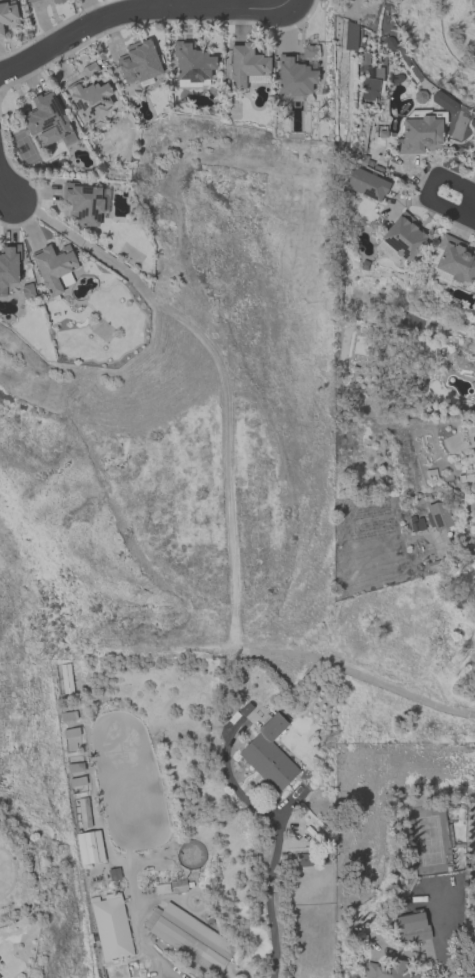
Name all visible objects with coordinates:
building: (30, 1)
road: (279, 3)
road: (130, 10)
building: (8, 15)
building: (138, 62)
building: (191, 63)
building: (246, 65)
building: (89, 69)
building: (293, 76)
building: (370, 85)
building: (89, 98)
rooftop solar panel: (53, 105)
building: (46, 119)
rooftop solar panel: (47, 122)
rooftop solar panel: (57, 125)
rooftop solar panel: (64, 132)
building: (419, 135)
road: (433, 176)
building: (365, 184)
road: (6, 188)
rooftop solar panel: (85, 190)
rooftop solar panel: (98, 196)
building: (82, 203)
rooftop solar panel: (92, 209)
rooftop solar panel: (81, 211)
road: (471, 217)
building: (400, 239)
building: (454, 260)
building: (8, 266)
building: (53, 267)
building: (440, 276)
building: (438, 516)
building: (66, 678)
building: (68, 716)
building: (268, 756)
building: (77, 785)
building: (84, 813)
building: (89, 847)
building: (302, 860)
road: (270, 877)
building: (411, 928)
building: (111, 929)
building: (189, 938)
road: (447, 965)
building: (388, 969)

